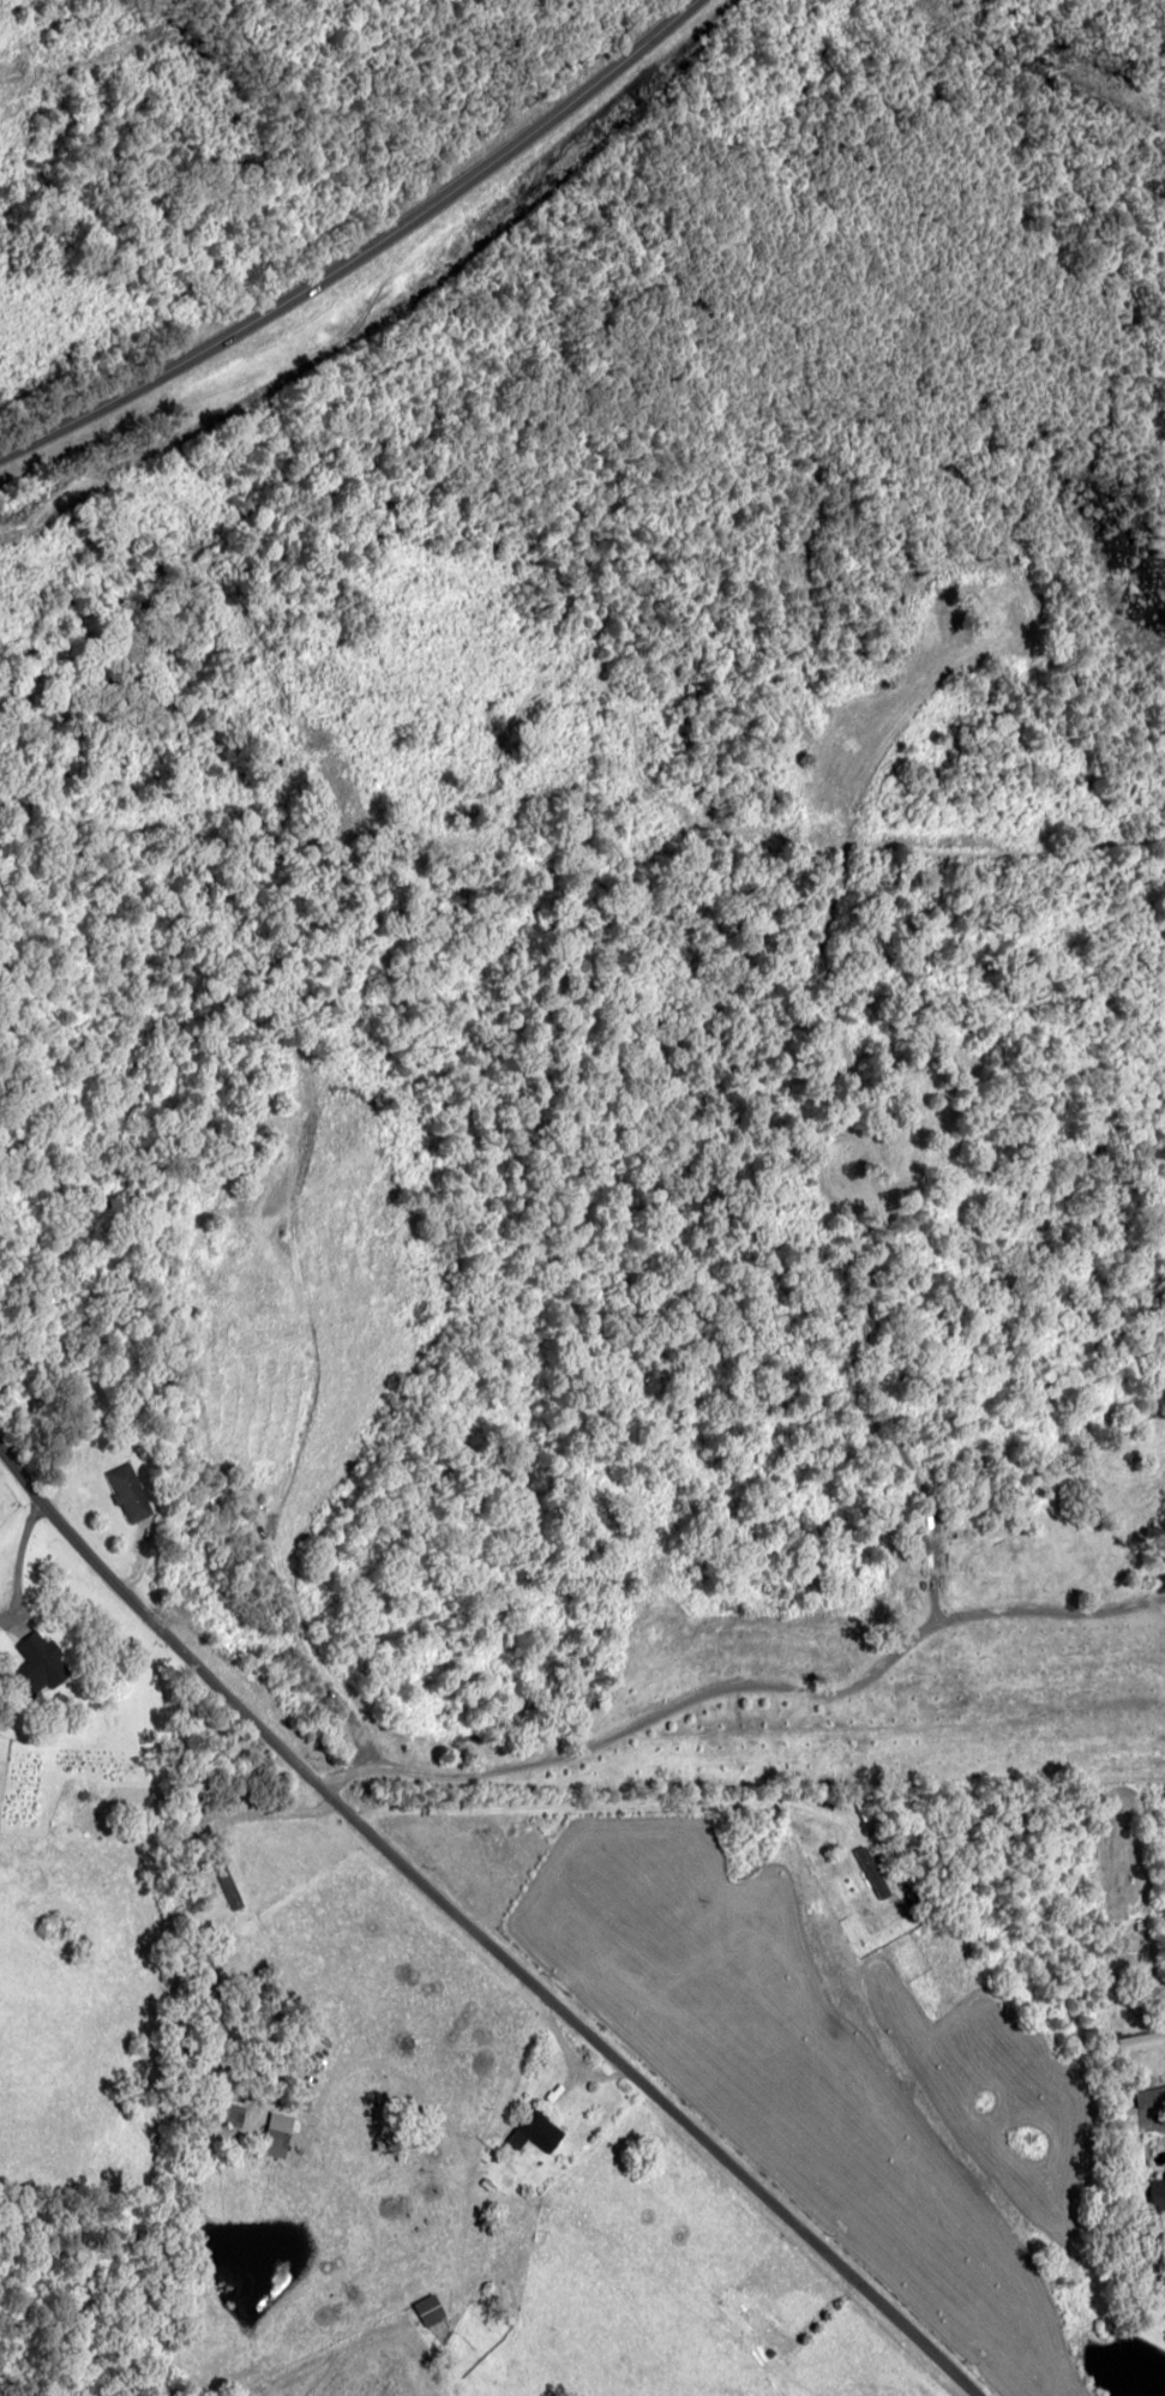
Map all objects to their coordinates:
road: (361, 250)
building: (128, 1493)
building: (42, 1662)
road: (480, 1917)
building: (538, 2131)
building: (280, 2134)
building: (1153, 2194)
road: (638, 2280)
building: (432, 2310)
road: (1055, 2354)

